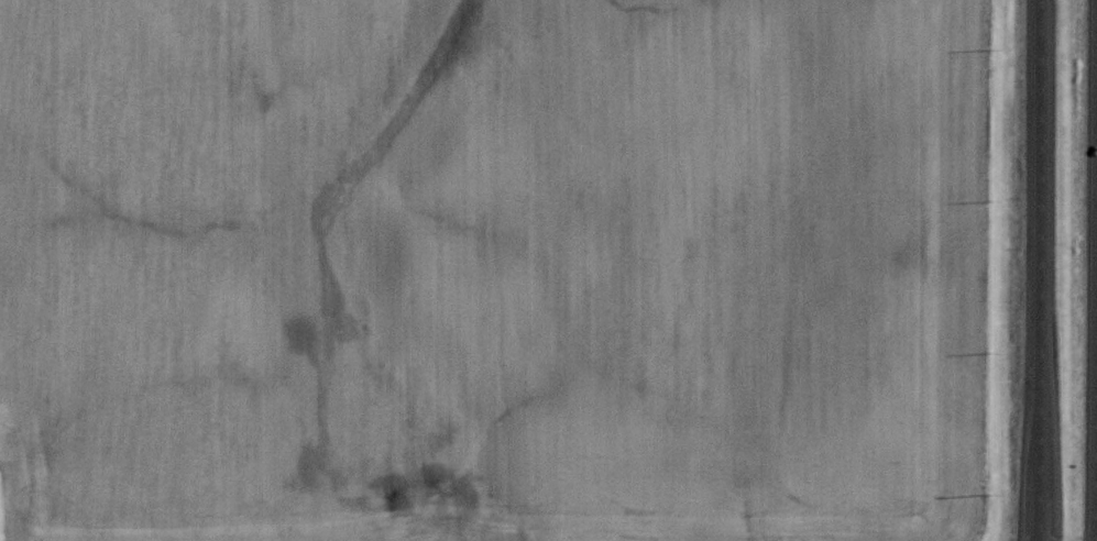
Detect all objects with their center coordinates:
road: (1039, 270)
road: (1095, 377)

